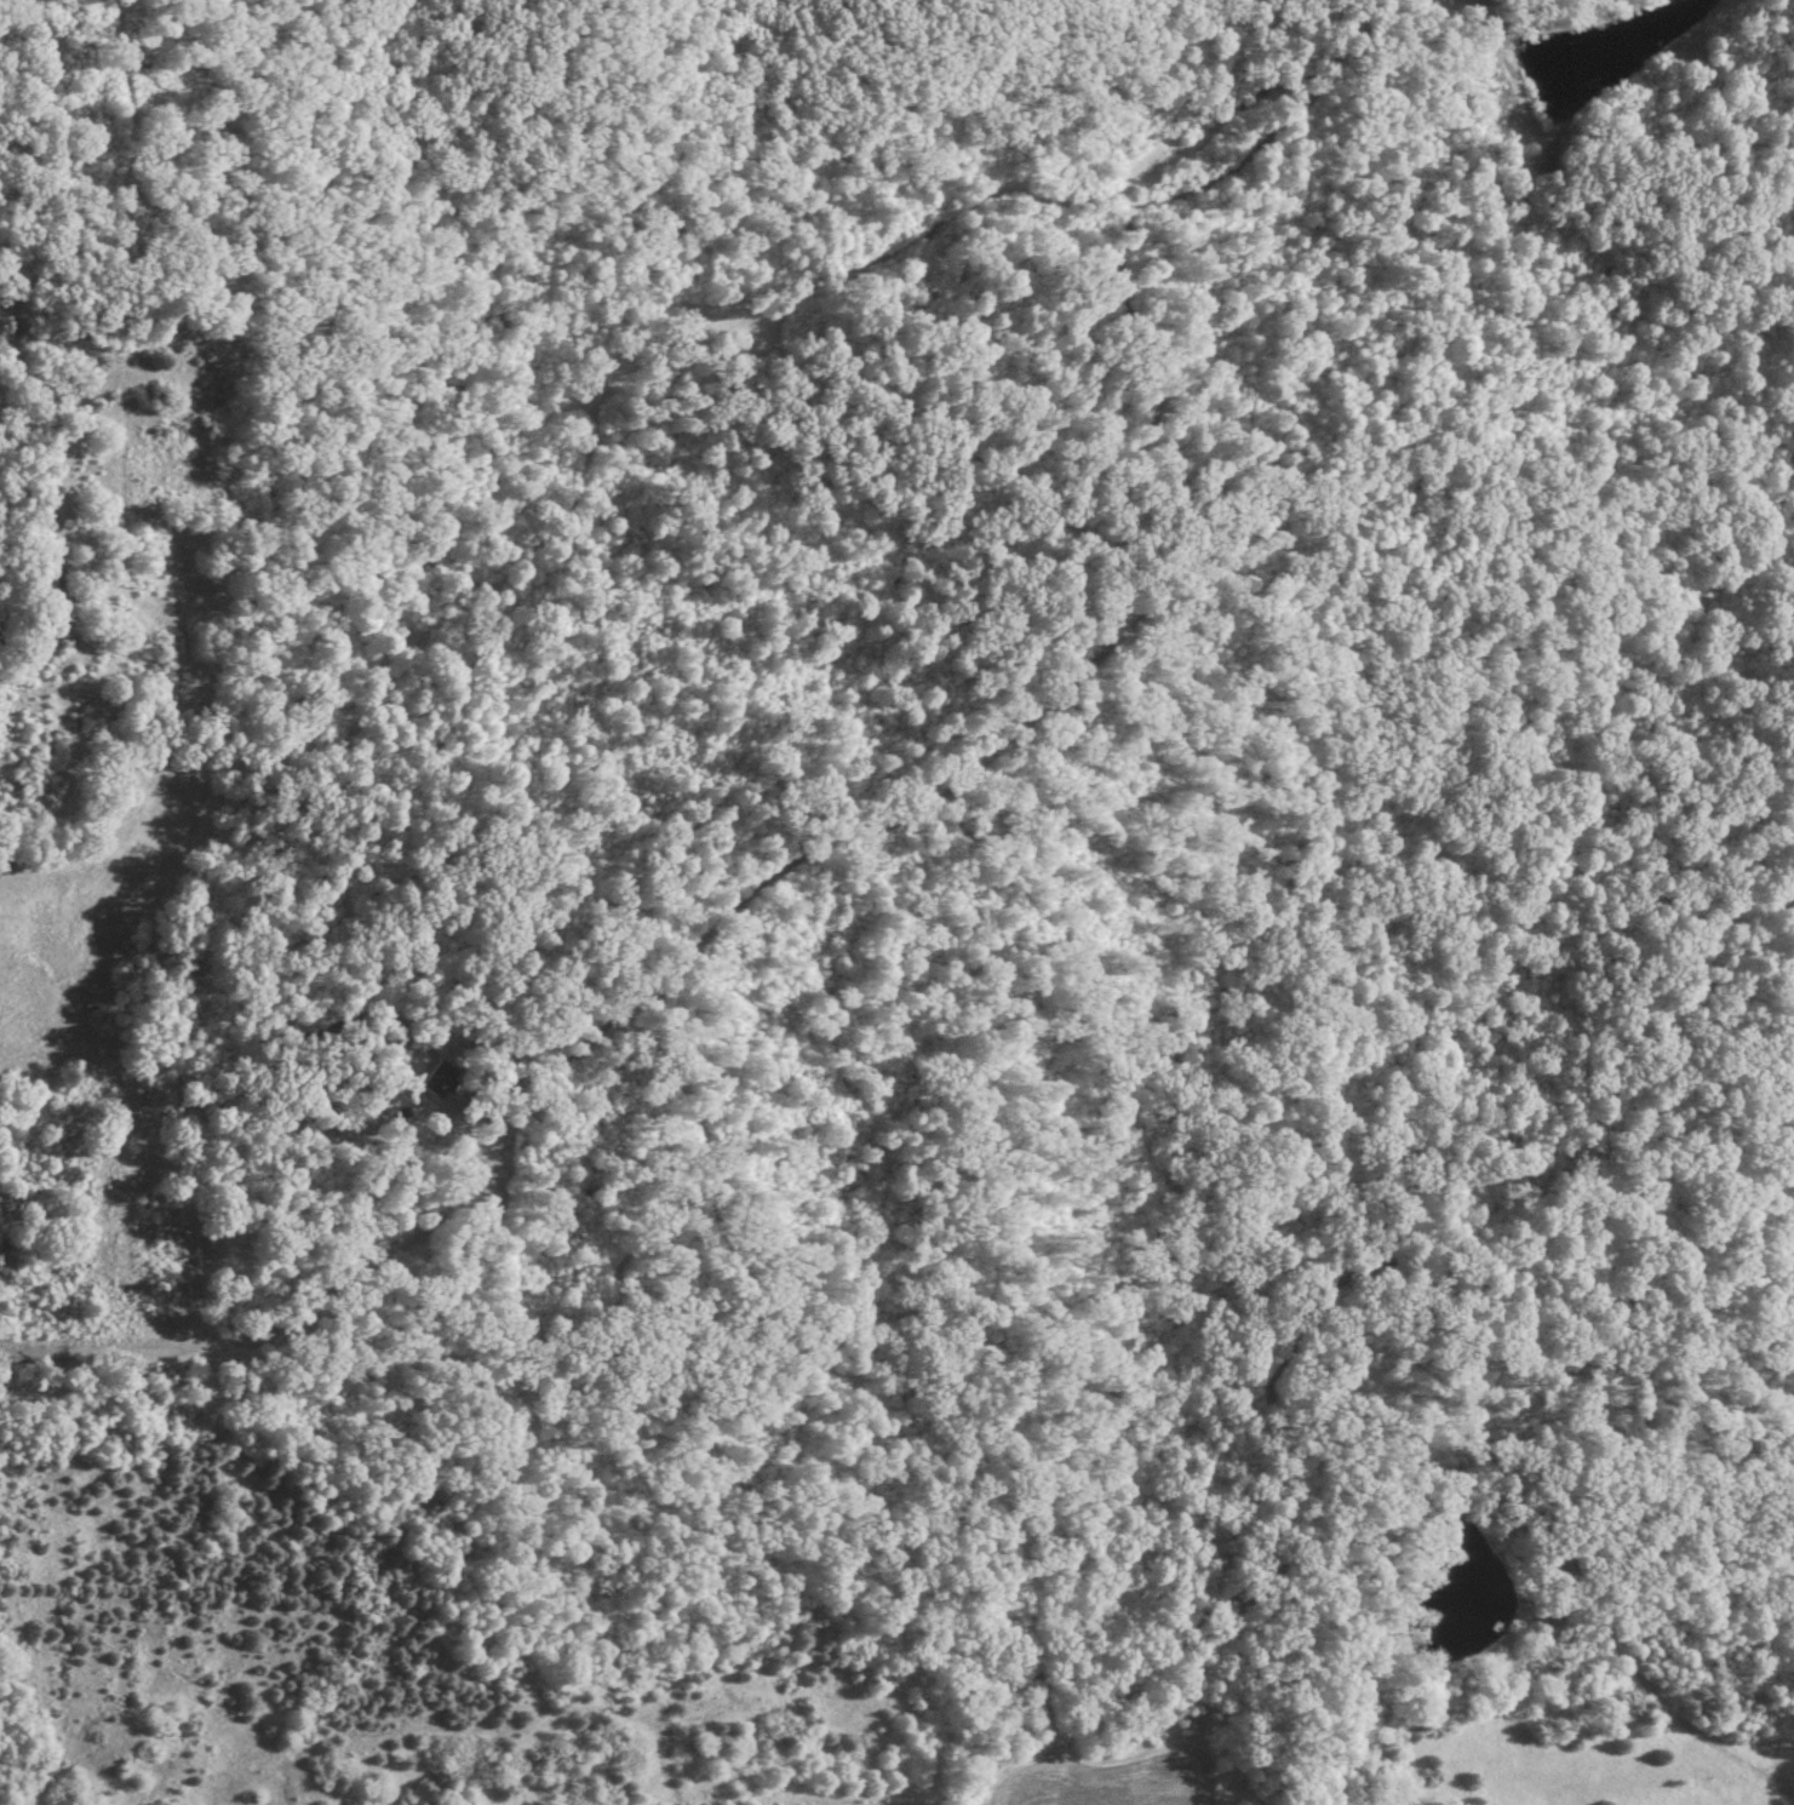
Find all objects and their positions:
building: (436, 1078)

